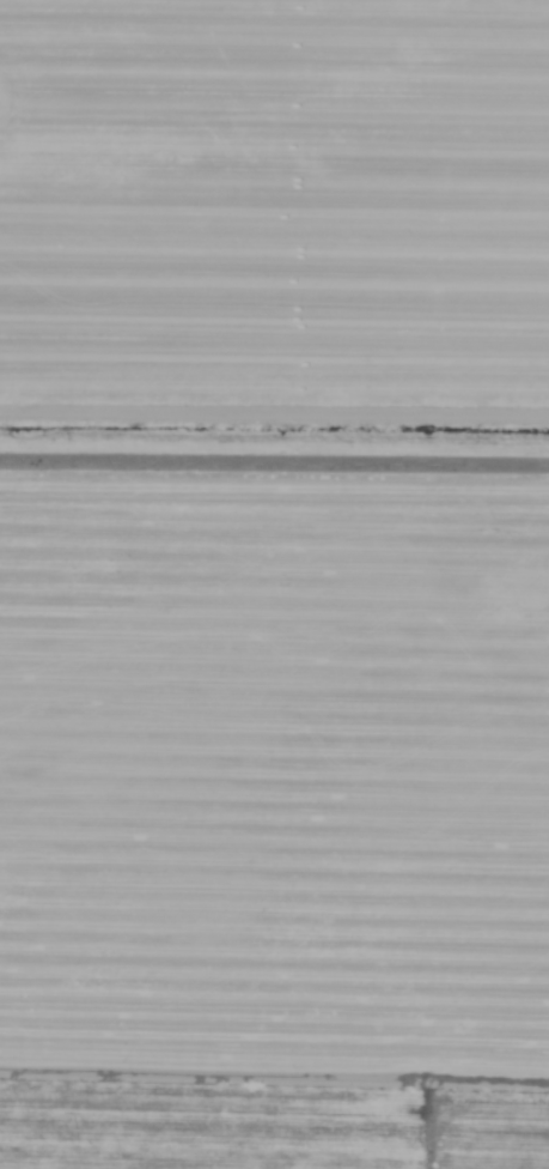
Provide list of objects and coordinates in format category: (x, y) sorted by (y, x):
road: (274, 462)
crop: (274, 584)

